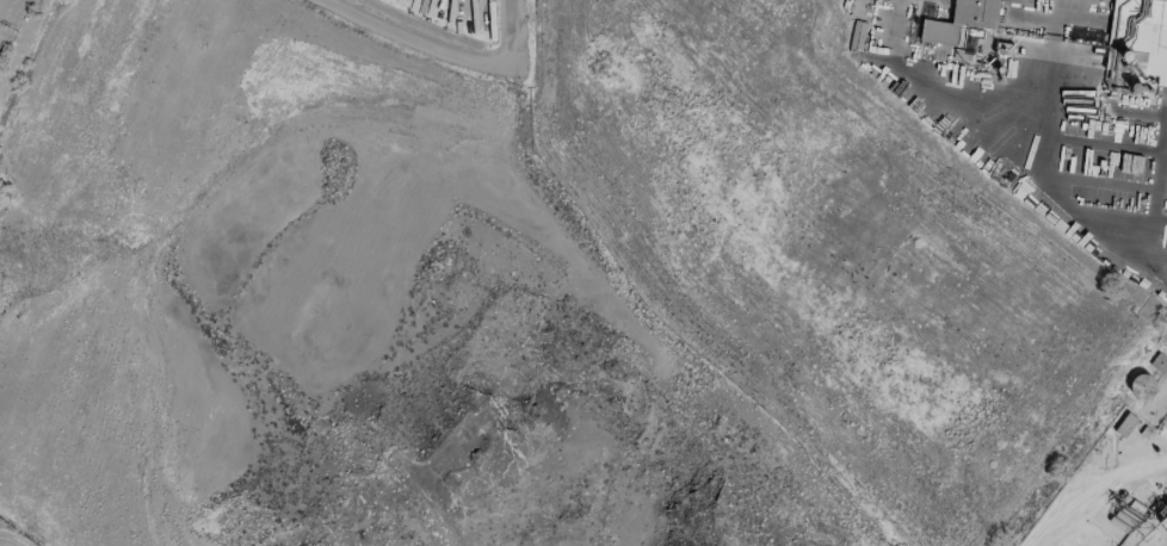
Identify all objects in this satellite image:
building: (959, 20)
road: (510, 29)
building: (1146, 36)
road: (414, 37)
road: (1043, 111)
road: (1001, 150)
road: (1159, 196)
road: (1159, 260)
building: (1124, 424)
road: (1097, 501)

